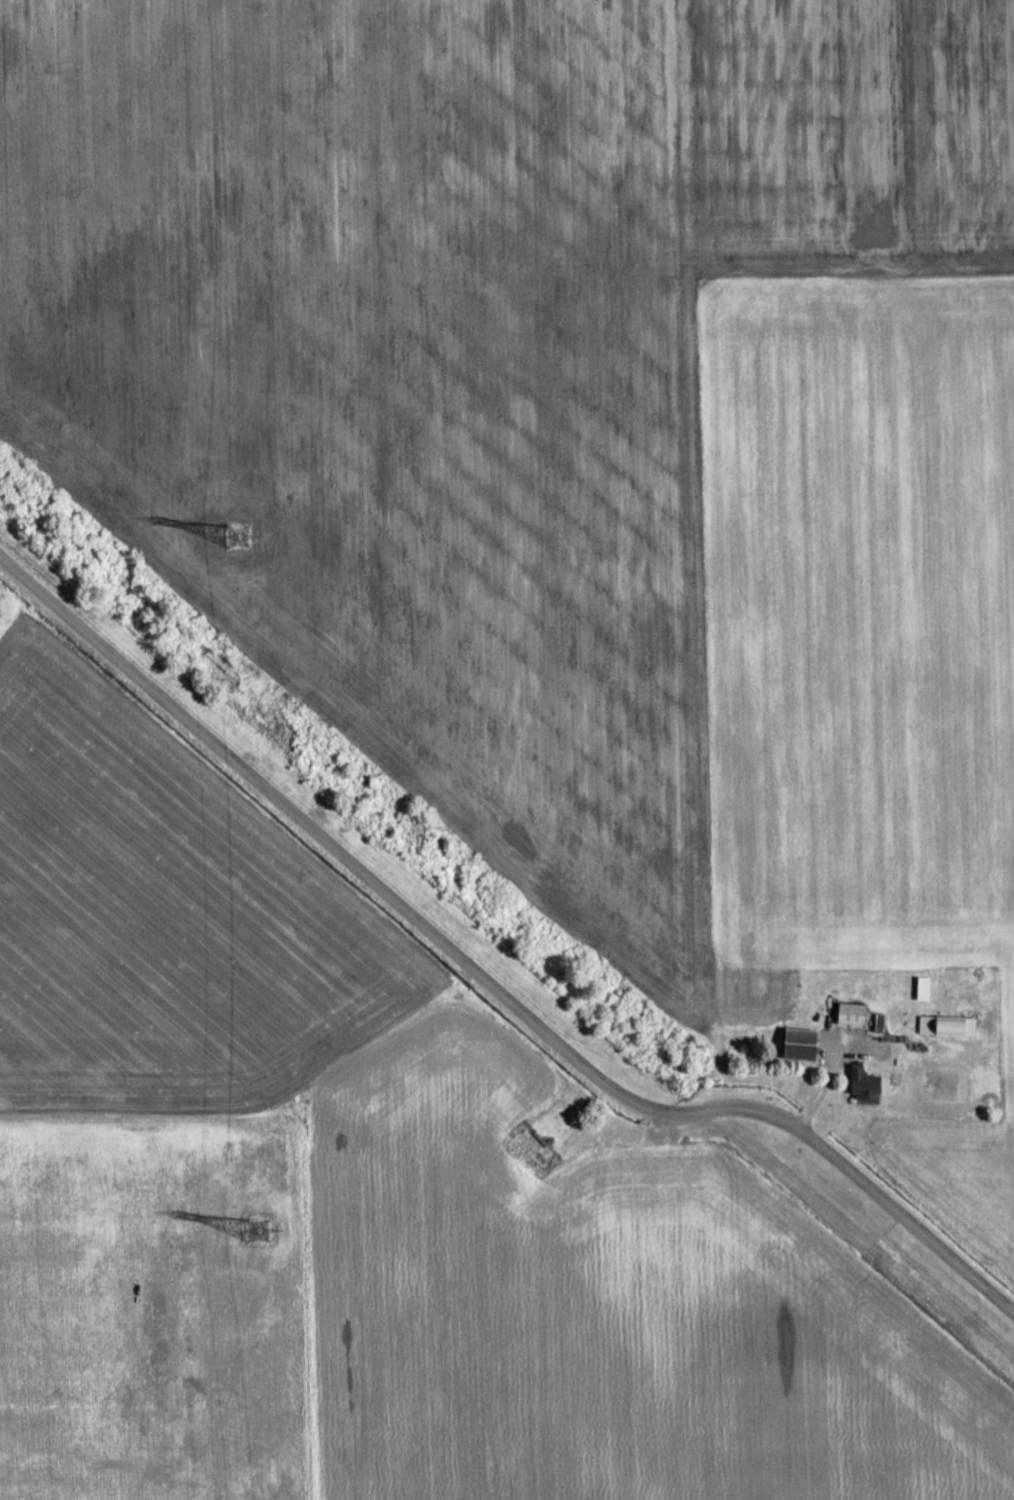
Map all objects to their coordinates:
crop: (464, 351)
power tower: (236, 535)
crop: (861, 653)
railway: (506, 941)
road: (486, 978)
building: (919, 989)
building: (847, 1014)
building: (943, 1026)
building: (796, 1044)
building: (860, 1083)
crop: (159, 1125)
power tower: (254, 1229)
crop: (616, 1315)

